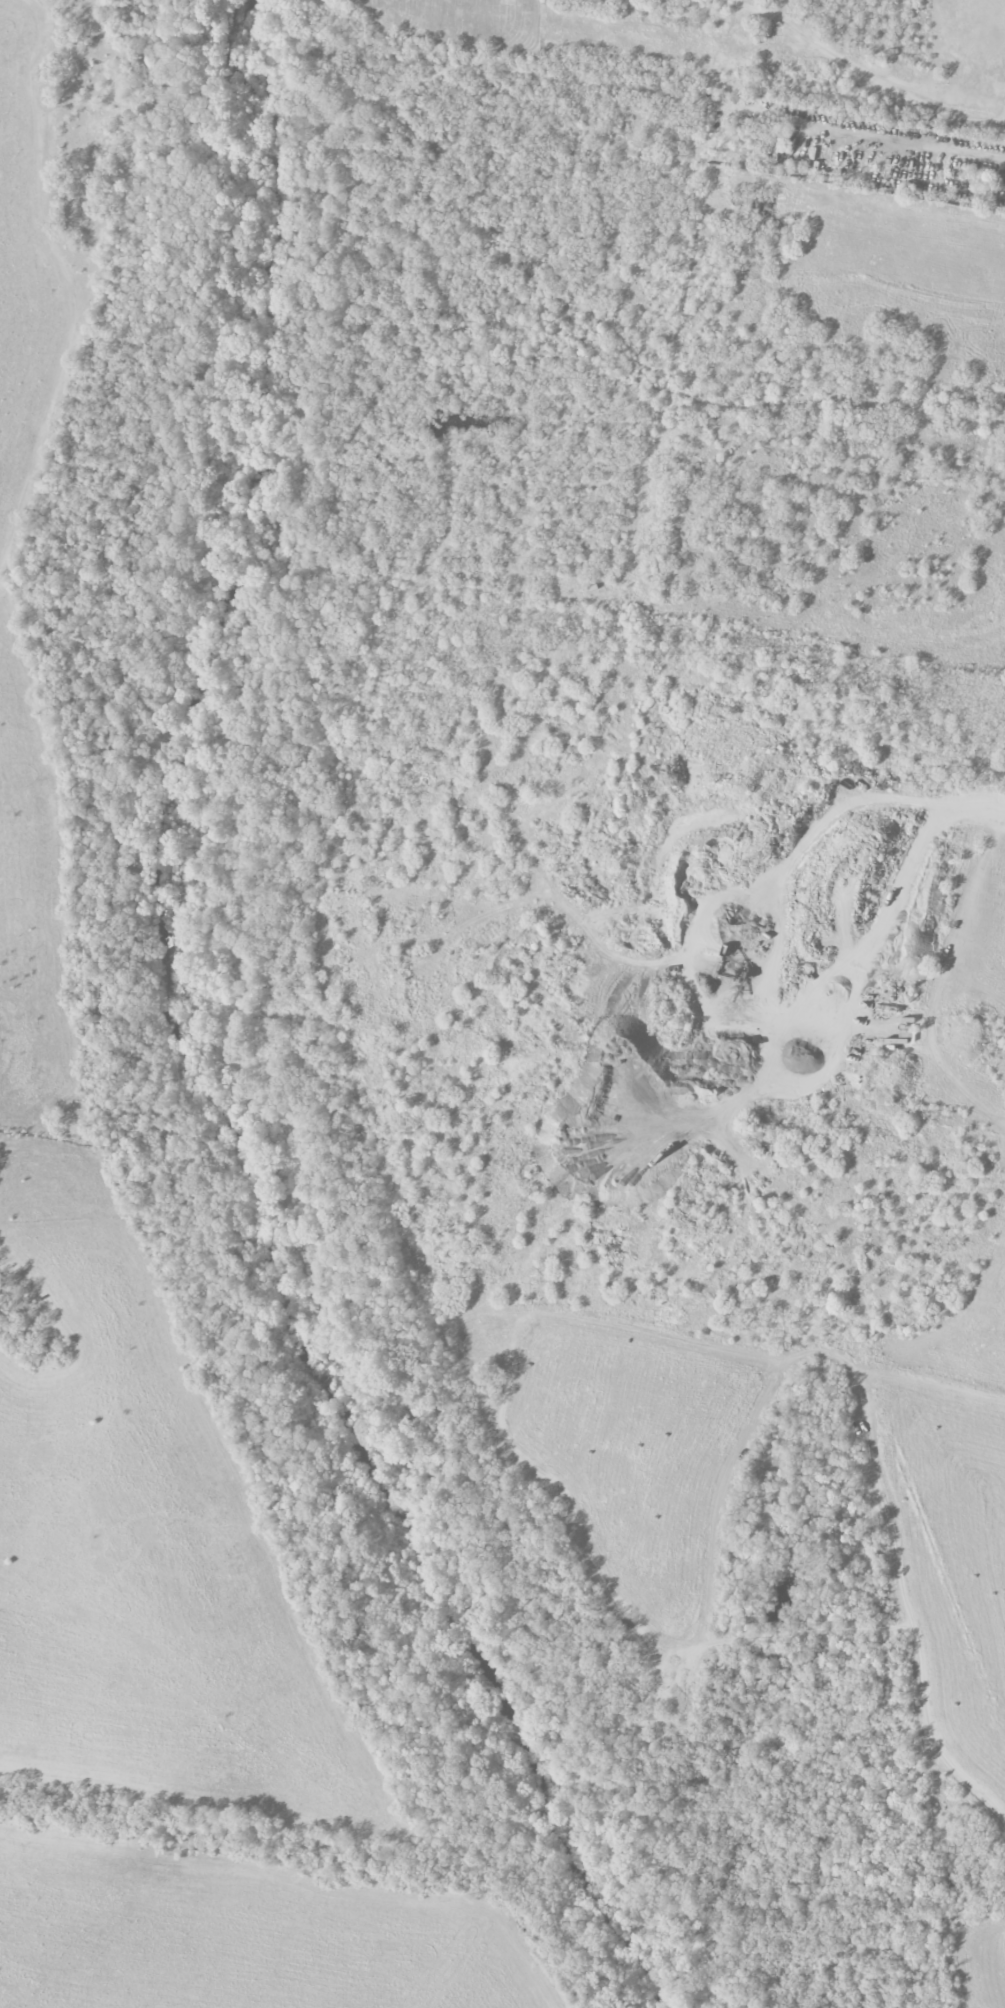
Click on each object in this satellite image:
road: (895, 890)

